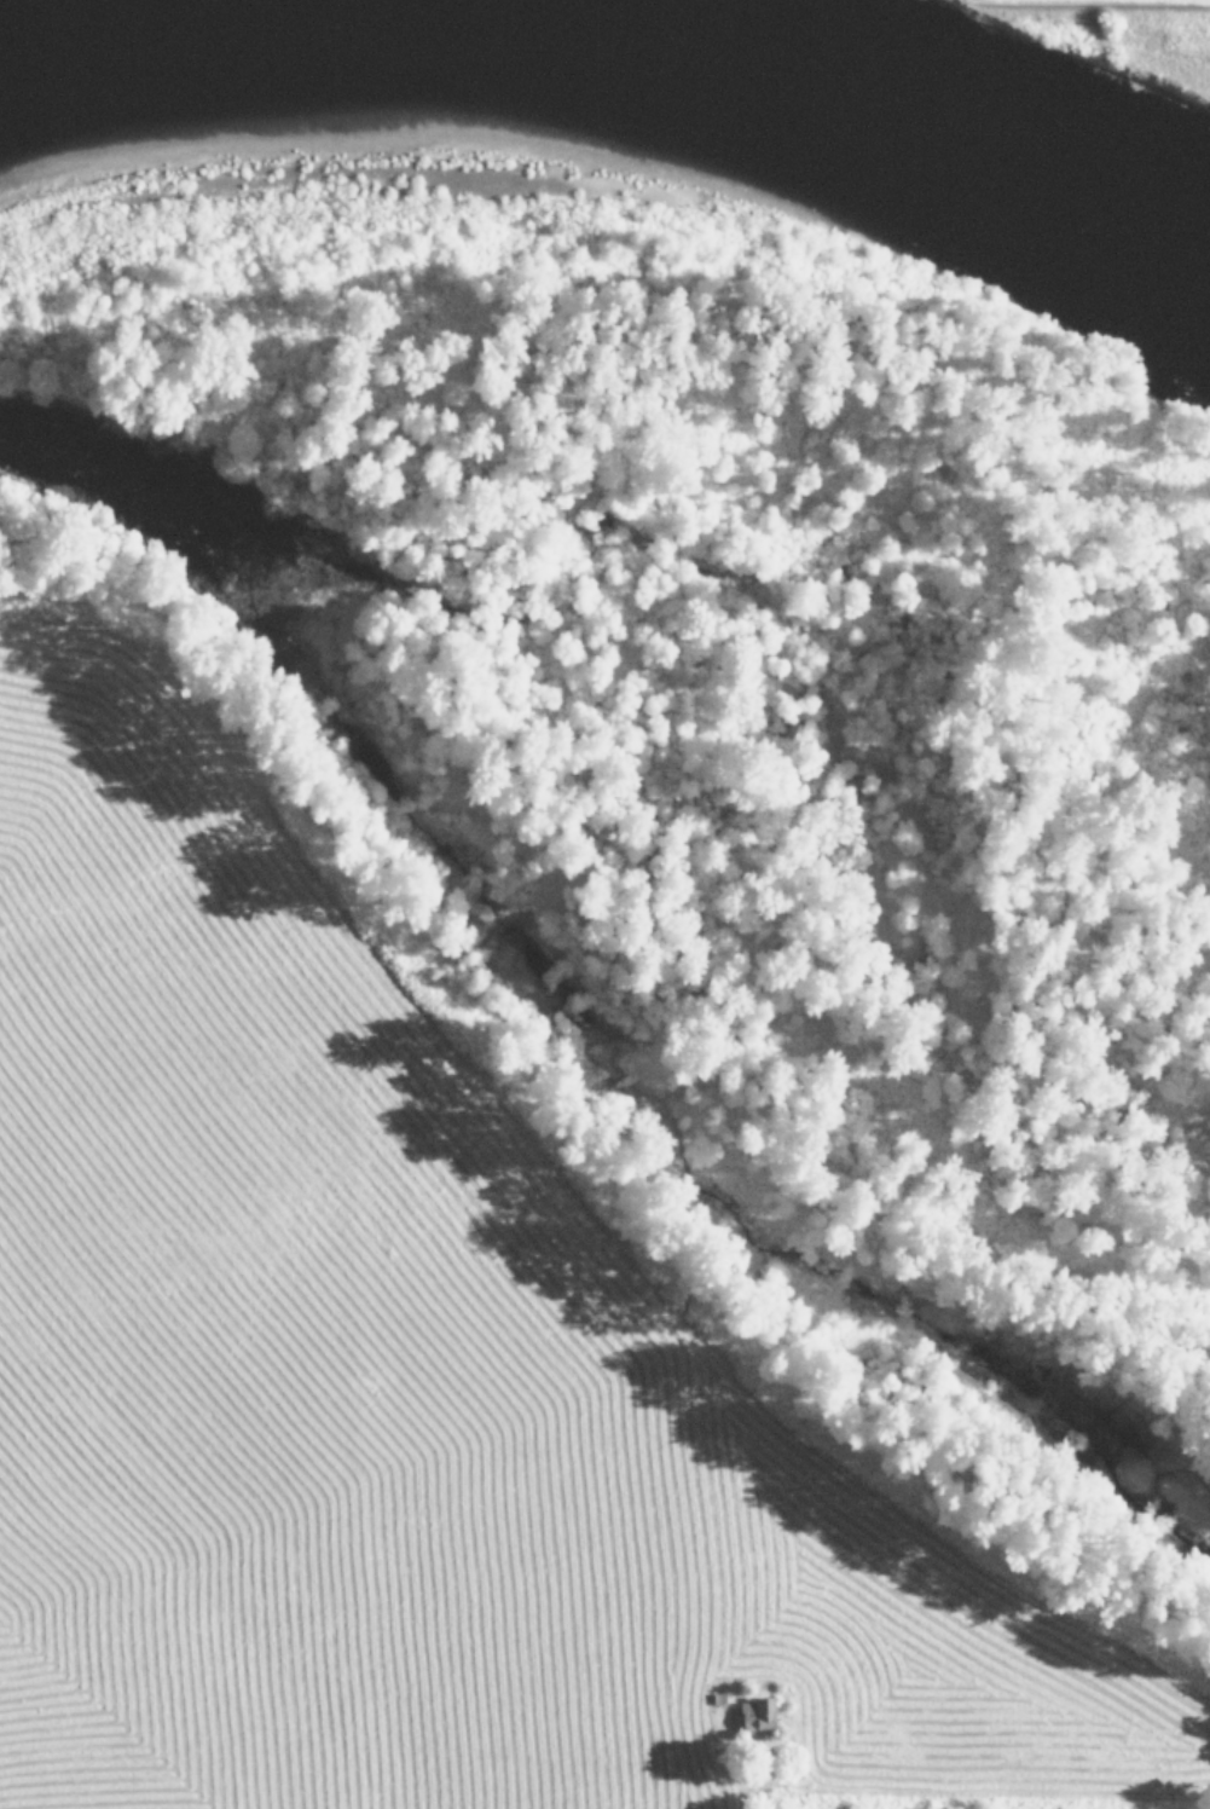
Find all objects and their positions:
crop: (1066, 15)
river: (620, 97)
crop: (399, 1391)
building: (758, 1713)

